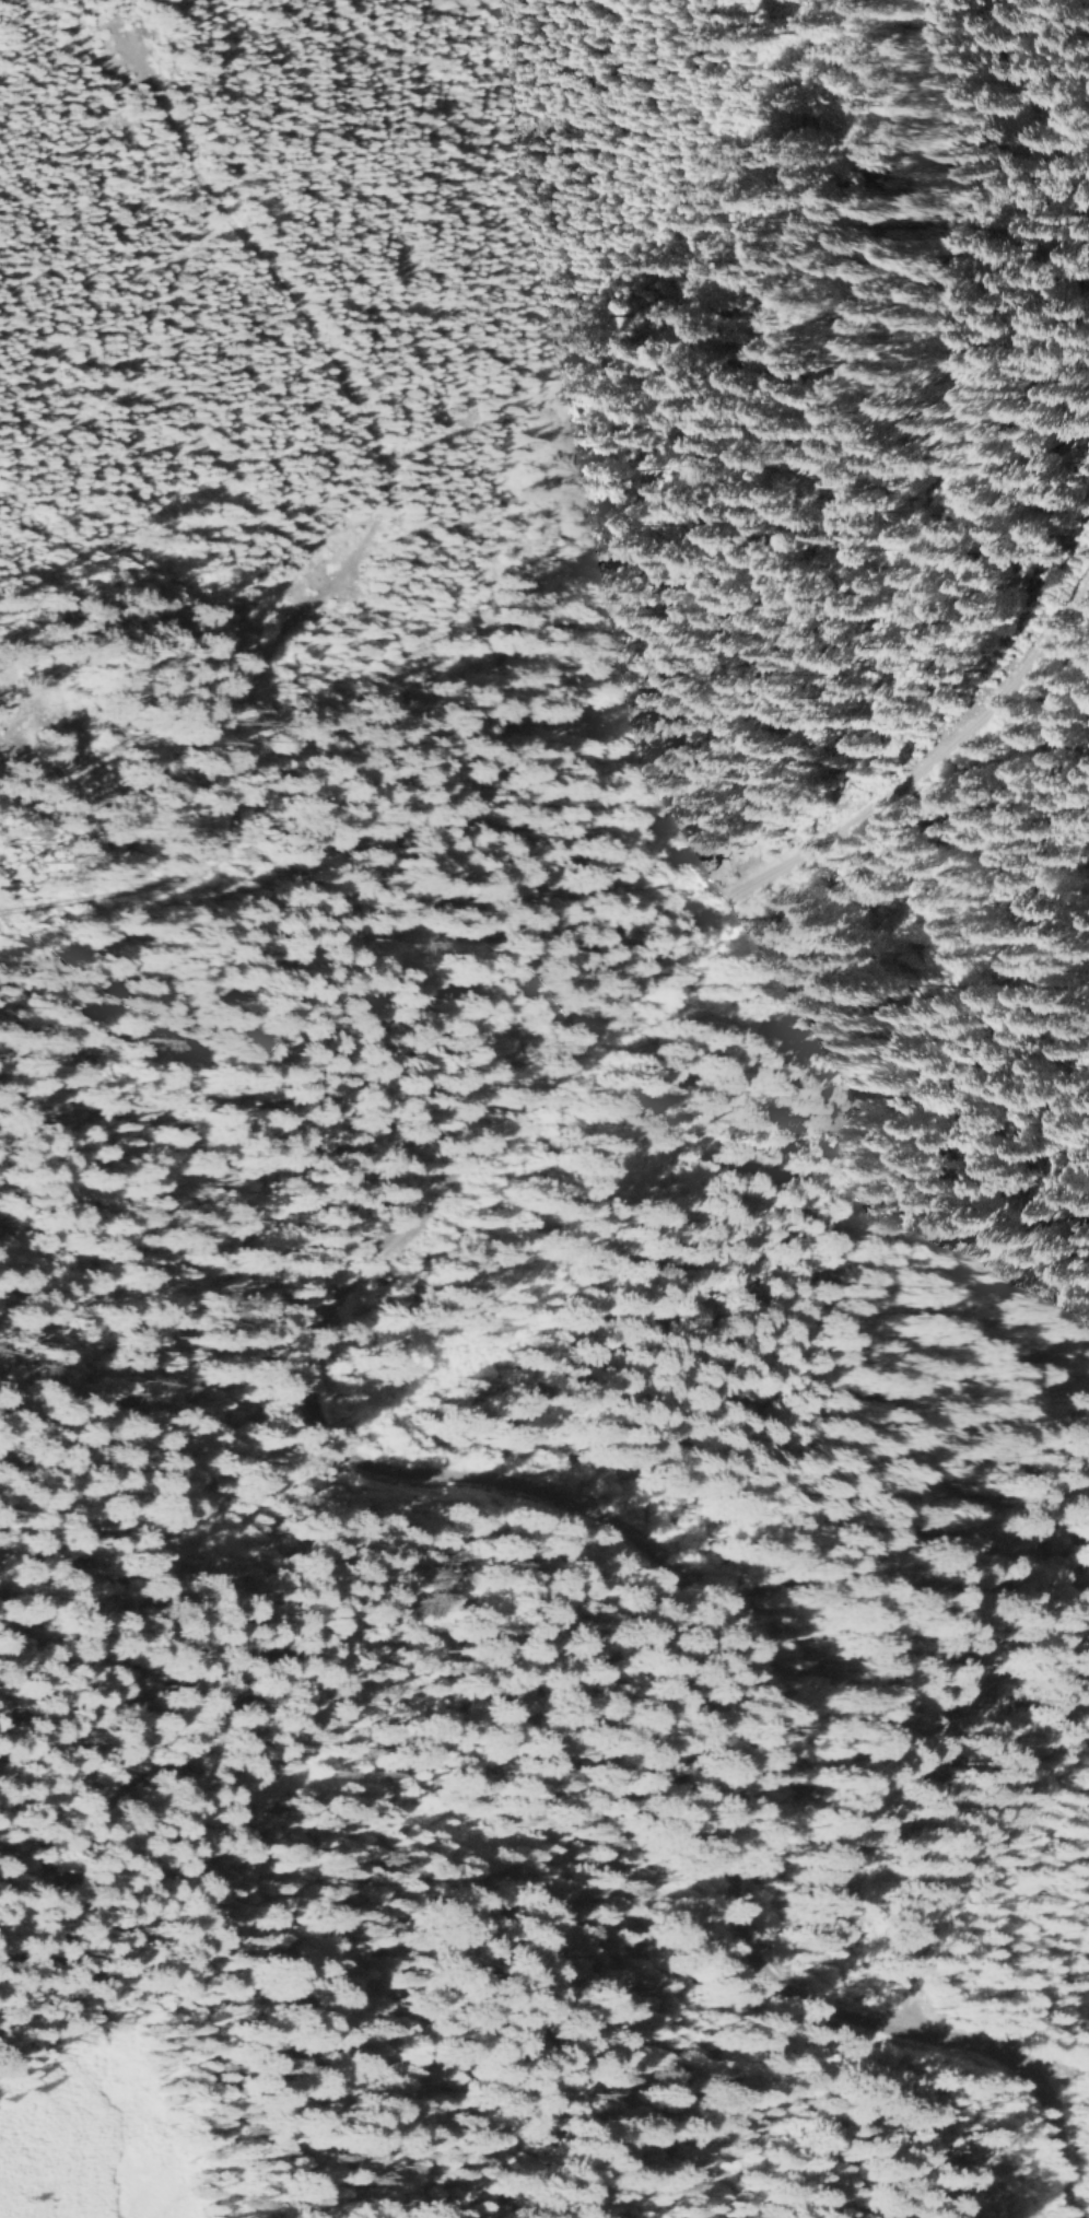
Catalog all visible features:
road: (364, 527)
road: (340, 1456)

